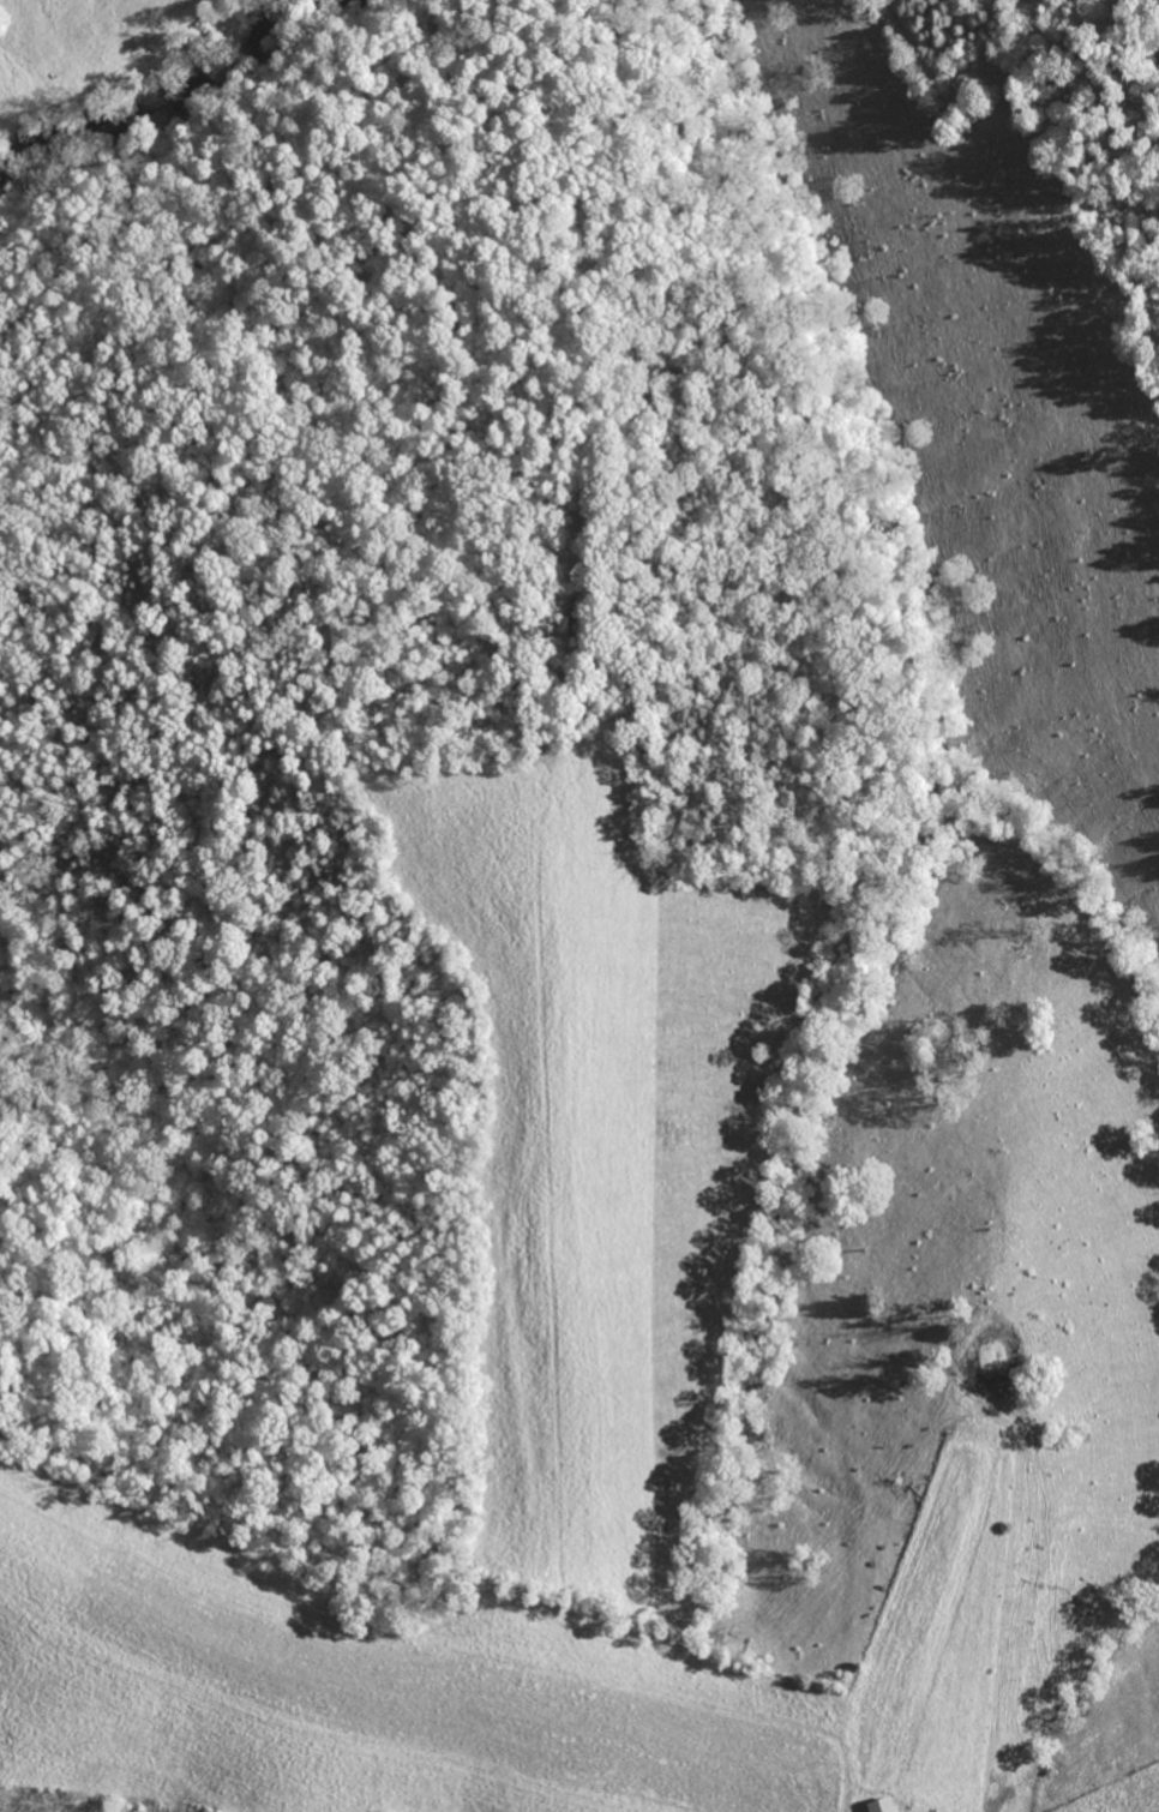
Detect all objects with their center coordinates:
building: (876, 1805)

